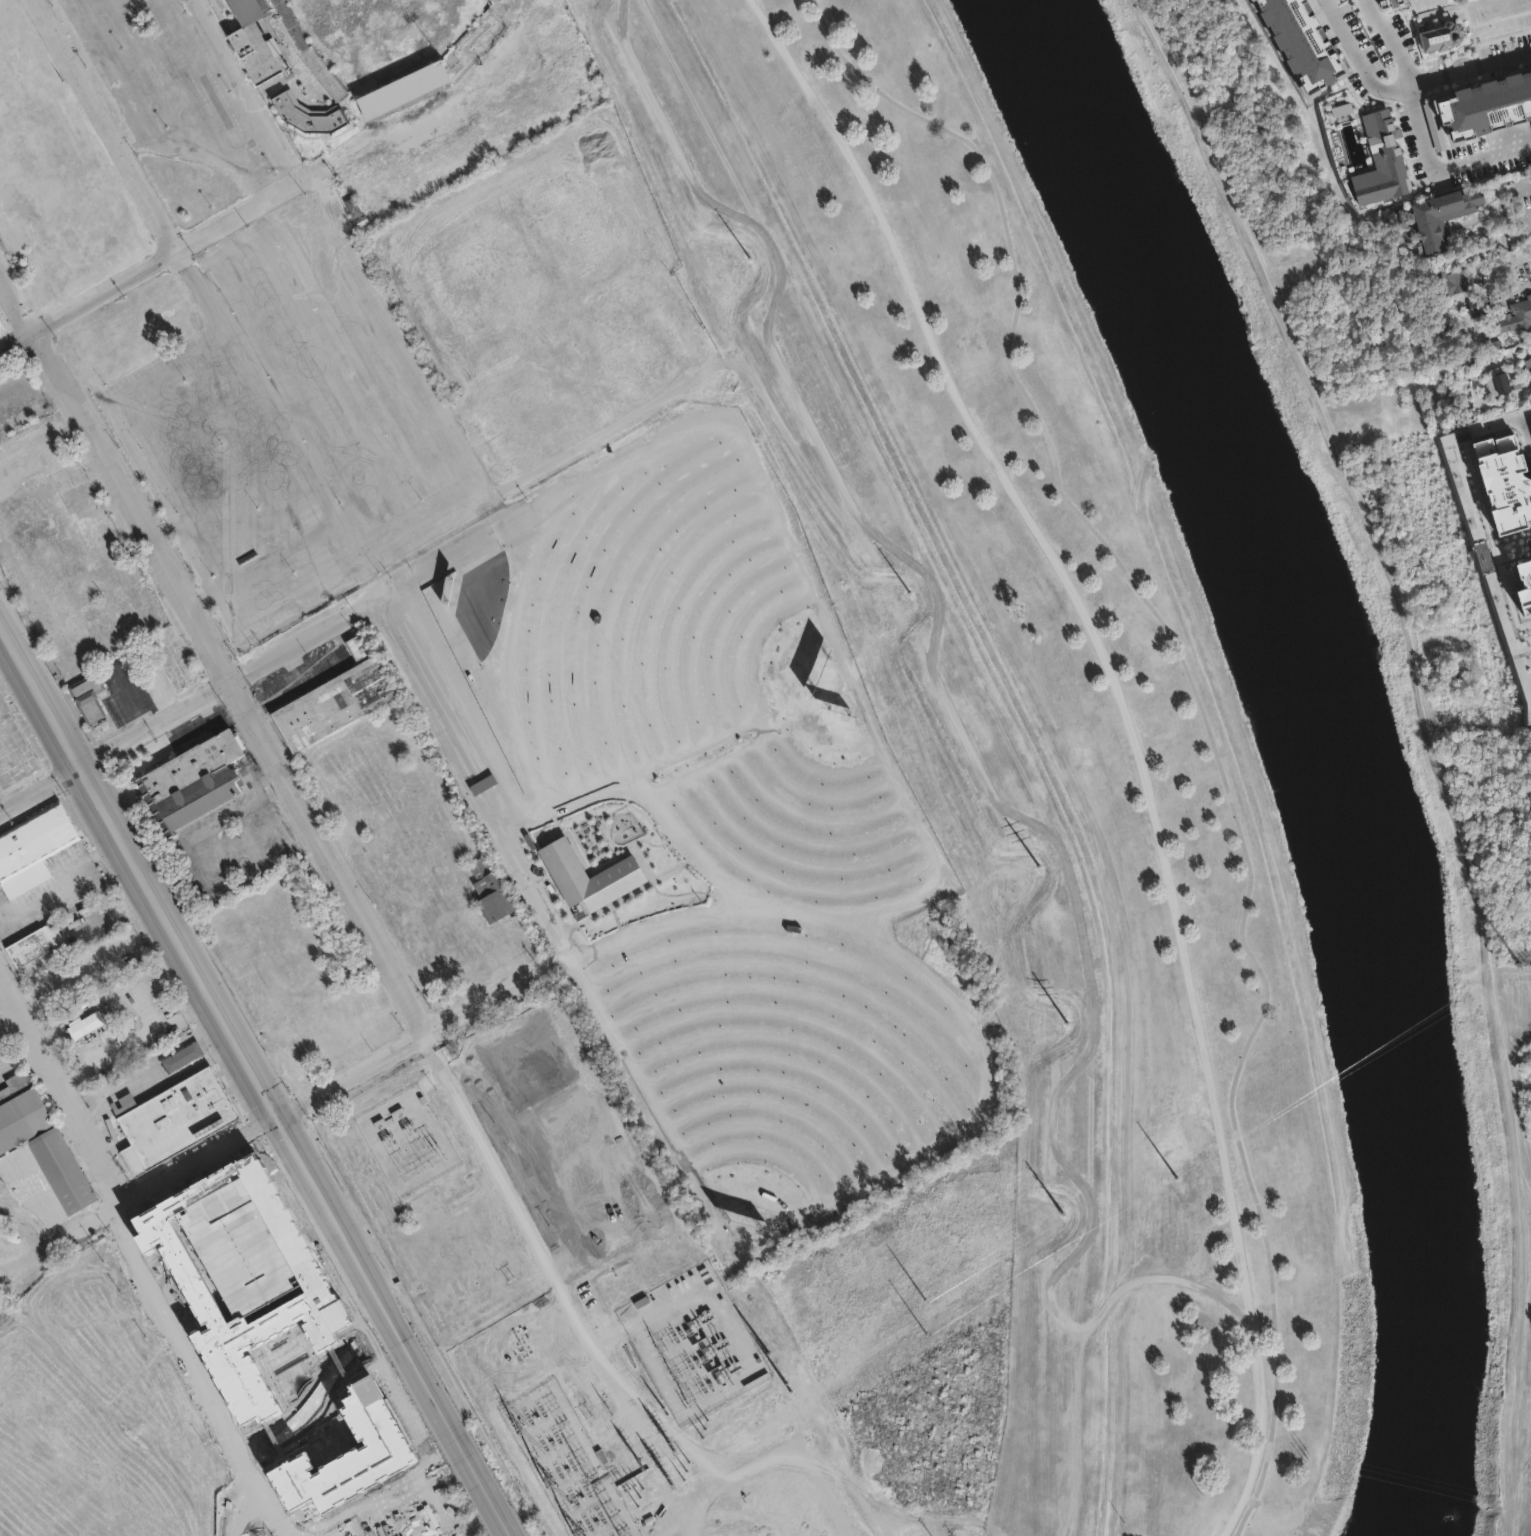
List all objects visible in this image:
building: (1380, 25)
building: (0, 32)
building: (1442, 38)
road: (1389, 42)
stadium: (359, 54)
building: (358, 57)
building: (1394, 61)
road: (862, 70)
parking lot: (166, 86)
park: (415, 86)
road: (1405, 86)
building: (6, 102)
road: (107, 123)
road: (1428, 169)
building: (356, 206)
road: (1507, 206)
road: (241, 210)
building: (1444, 217)
building: (1407, 233)
road: (1527, 277)
building: (1452, 282)
road: (88, 298)
building: (1482, 308)
building: (1518, 317)
building: (2, 325)
power tower: (971, 342)
building: (1486, 358)
road: (260, 381)
building: (1499, 384)
road: (1503, 420)
parking lot: (295, 432)
road: (91, 441)
road: (402, 485)
building: (1495, 491)
road: (179, 529)
road: (261, 562)
building: (1517, 599)
road: (226, 685)
building: (91, 697)
building: (337, 699)
road: (132, 700)
park: (1162, 723)
road: (1132, 733)
road: (1432, 742)
river: (1324, 746)
power tower: (1081, 759)
road: (462, 781)
building: (194, 782)
road: (38, 789)
road: (1229, 794)
road: (310, 819)
road: (271, 820)
building: (34, 849)
road: (188, 849)
road: (159, 856)
road: (138, 877)
building: (587, 878)
road: (62, 885)
building: (492, 893)
road: (112, 920)
building: (37, 945)
power tower: (1519, 962)
road: (493, 996)
building: (66, 1015)
building: (184, 1057)
road: (146, 1068)
road: (180, 1073)
road: (351, 1079)
road: (62, 1092)
power tower: (1197, 1097)
building: (23, 1115)
building: (388, 1118)
traffic signals: (276, 1119)
building: (177, 1121)
power substation: (407, 1140)
building: (51, 1182)
road: (138, 1194)
road: (1525, 1207)
road: (338, 1230)
road: (528, 1230)
building: (708, 1325)
power substation: (693, 1342)
road: (213, 1374)
road: (455, 1438)
power substation: (556, 1451)
road: (348, 1467)
park: (1207, 1525)

